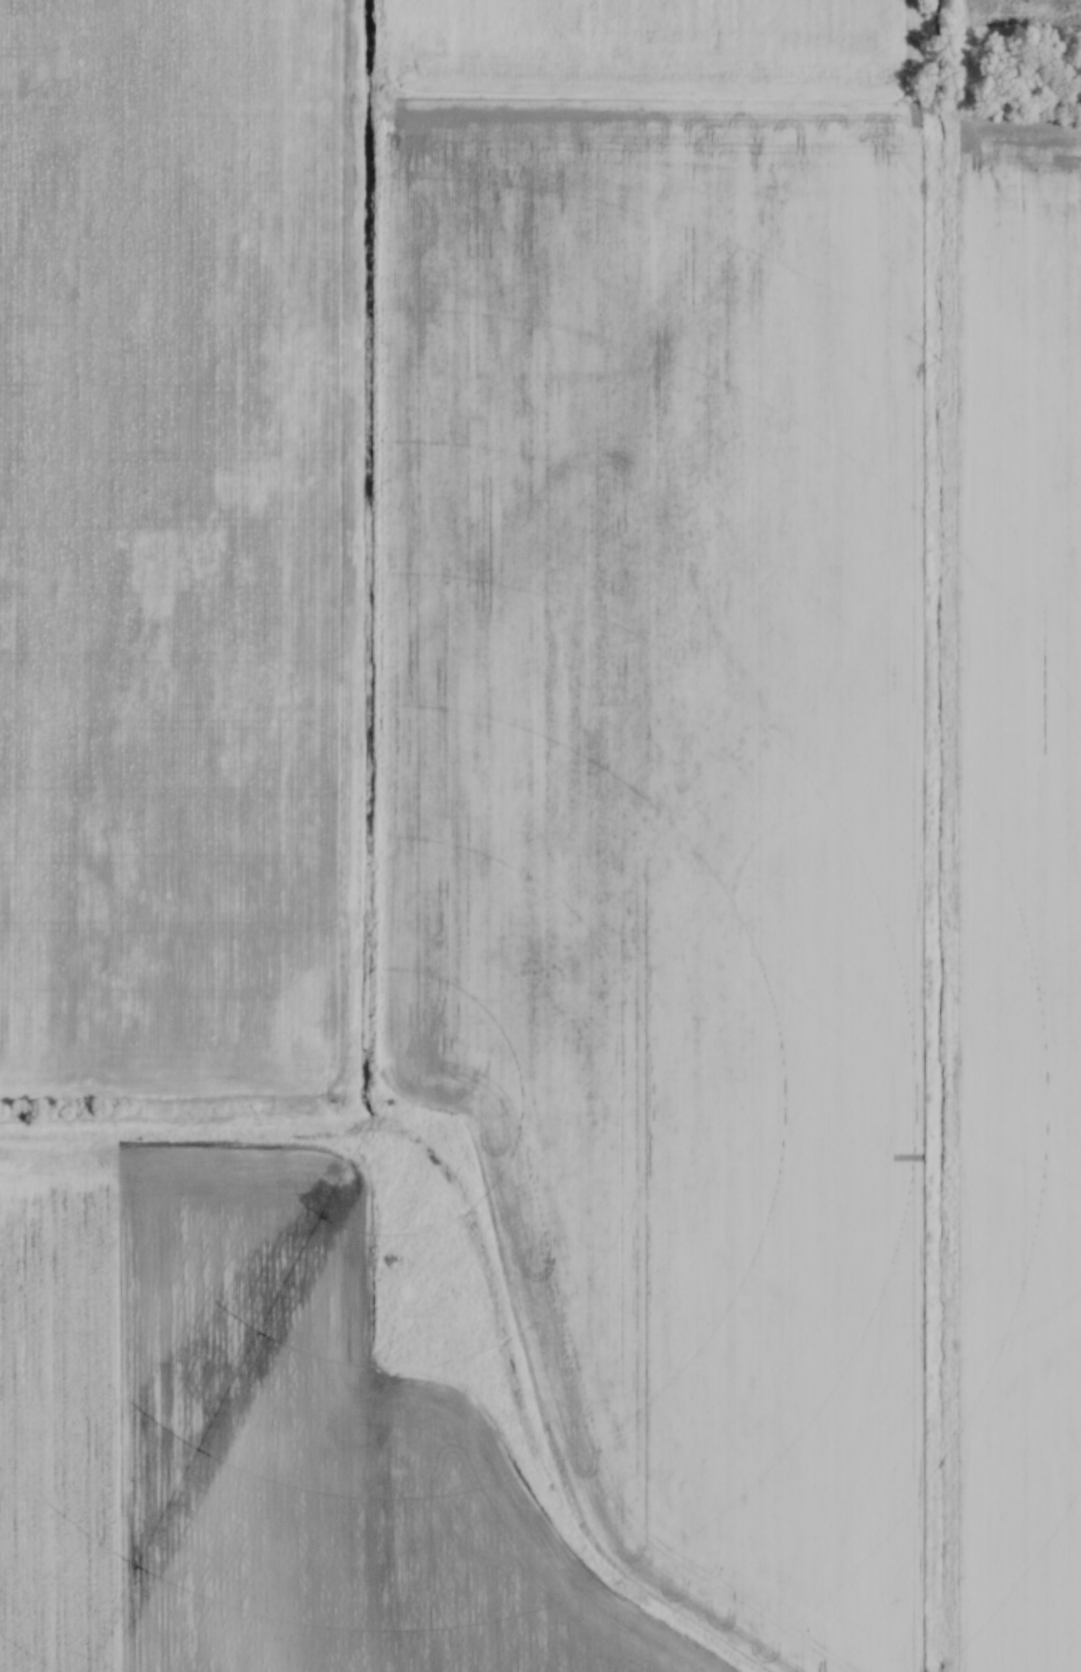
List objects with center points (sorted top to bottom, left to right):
river: (937, 835)

